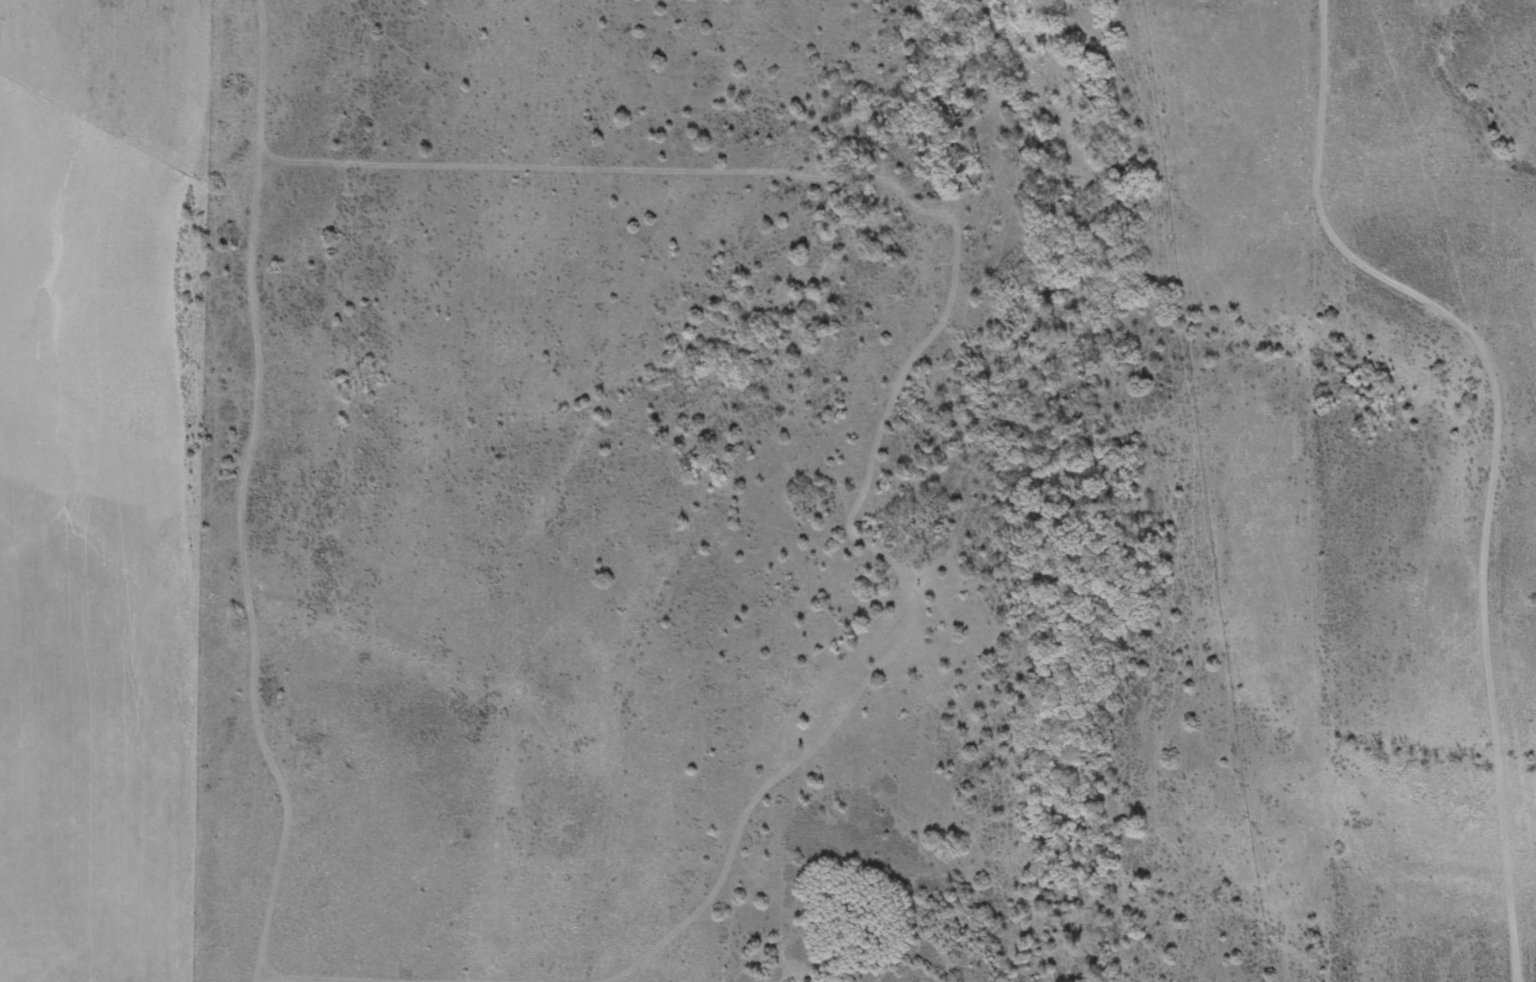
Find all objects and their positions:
road: (1311, 471)

